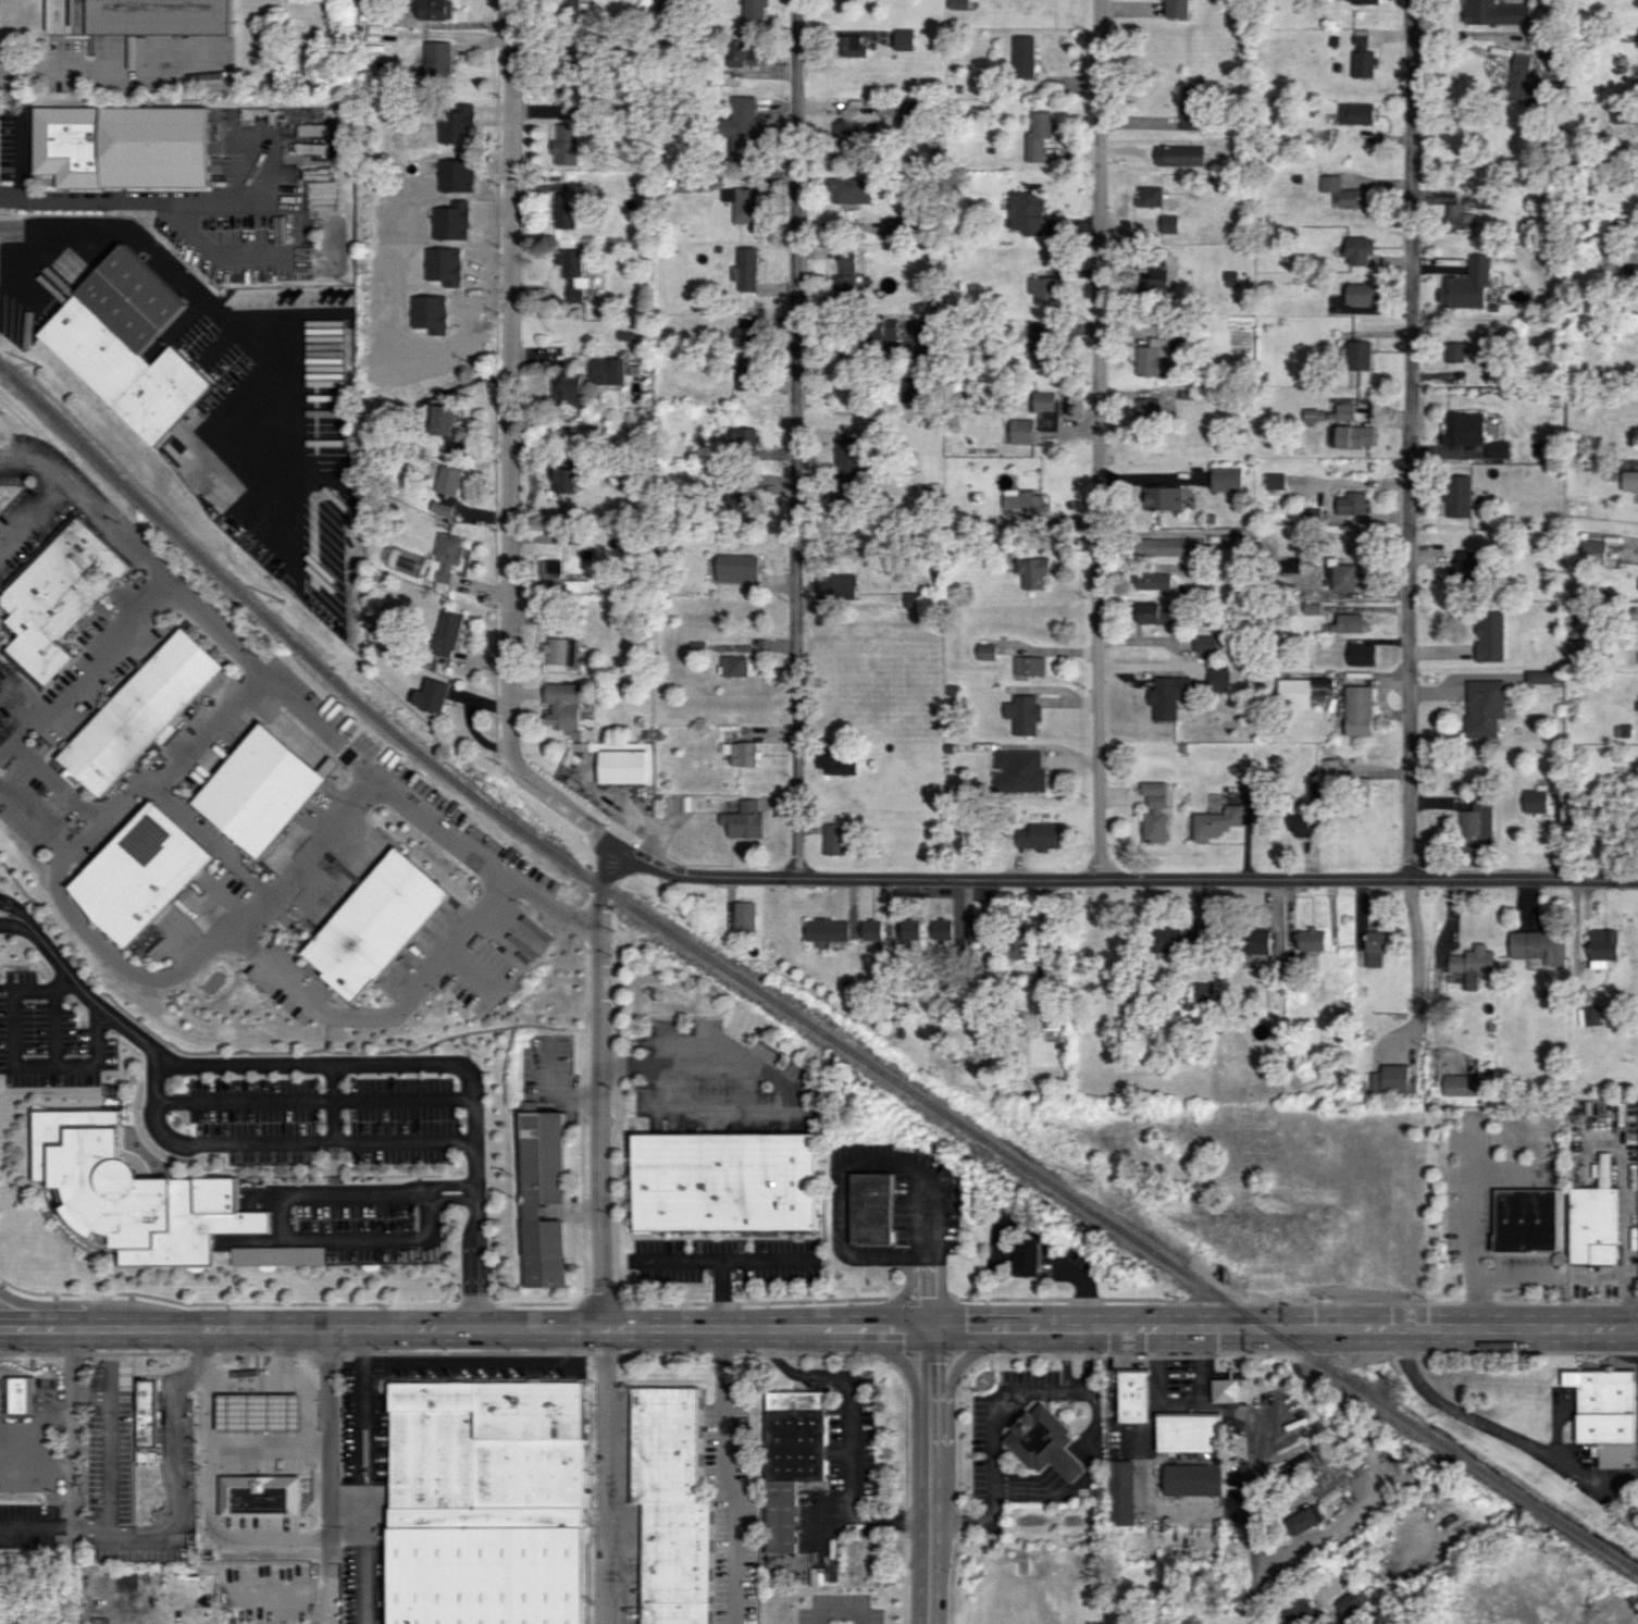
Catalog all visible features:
building: (1362, 1)
building: (957, 3)
building: (571, 4)
building: (1174, 9)
building: (433, 10)
building: (754, 10)
building: (1493, 12)
building: (135, 16)
building: (903, 39)
building: (852, 46)
building: (741, 51)
building: (1360, 55)
building: (1023, 57)
building: (437, 60)
road: (110, 71)
building: (1521, 83)
building: (567, 84)
building: (1191, 107)
building: (1353, 113)
building: (1620, 113)
building: (742, 127)
building: (847, 132)
building: (1037, 135)
building: (317, 139)
building: (564, 144)
building: (117, 145)
road: (18, 154)
building: (1179, 154)
building: (851, 189)
building: (1340, 193)
building: (1150, 196)
road: (140, 201)
building: (742, 203)
building: (1025, 211)
building: (564, 212)
building: (1454, 216)
building: (1154, 224)
building: (895, 226)
building: (1356, 249)
road: (157, 256)
building: (746, 270)
building: (1630, 272)
building: (573, 273)
building: (844, 275)
building: (1153, 282)
building: (1464, 285)
building: (1041, 287)
building: (1356, 294)
building: (1374, 294)
building: (888, 330)
building: (747, 335)
building: (1041, 339)
building: (126, 344)
building: (1159, 345)
building: (1454, 351)
building: (1356, 355)
building: (1151, 362)
building: (609, 370)
building: (748, 373)
building: (566, 388)
building: (910, 389)
building: (1044, 408)
building: (1145, 408)
building: (444, 418)
building: (1462, 429)
building: (1348, 430)
building: (1020, 431)
road: (794, 437)
road: (1096, 438)
building: (745, 439)
road: (1414, 439)
road: (507, 446)
building: (1496, 449)
building: (848, 460)
building: (1225, 479)
building: (450, 480)
building: (567, 480)
building: (1628, 480)
building: (1274, 481)
building: (1457, 495)
building: (1163, 497)
building: (1023, 504)
building: (1352, 504)
road: (90, 505)
road: (28, 509)
building: (1163, 544)
building: (1592, 551)
building: (446, 559)
building: (404, 560)
building: (1288, 566)
building: (1467, 567)
building: (739, 568)
building: (1034, 572)
building: (1342, 575)
building: (1154, 581)
building: (837, 585)
building: (58, 596)
building: (914, 599)
building: (1153, 613)
building: (1350, 622)
building: (447, 634)
building: (1490, 636)
building: (1205, 643)
building: (1575, 647)
building: (561, 652)
building: (988, 652)
building: (1361, 655)
building: (735, 665)
building: (1029, 665)
building: (1538, 677)
building: (1217, 679)
road: (2, 683)
building: (1293, 692)
building: (1319, 693)
building: (431, 695)
building: (1166, 695)
building: (563, 705)
building: (1484, 707)
building: (141, 710)
building: (1357, 710)
building: (1023, 714)
road: (207, 729)
building: (741, 753)
building: (833, 760)
building: (625, 764)
building: (1019, 771)
road: (156, 784)
building: (258, 790)
building: (1543, 797)
building: (1153, 811)
building: (1298, 819)
building: (742, 820)
building: (1215, 821)
building: (1475, 827)
building: (1038, 835)
road: (318, 836)
building: (833, 839)
building: (140, 873)
road: (1122, 877)
road: (488, 897)
road: (548, 903)
building: (744, 916)
building: (375, 922)
building: (978, 927)
building: (826, 929)
building: (871, 929)
building: (908, 929)
building: (1311, 940)
building: (1256, 942)
building: (1017, 943)
building: (1536, 944)
building: (1373, 947)
building: (1602, 949)
road: (1413, 959)
building: (1471, 964)
building: (1201, 991)
railway: (785, 1011)
building: (1588, 1016)
road: (335, 1061)
road: (22, 1062)
building: (1391, 1079)
building: (1462, 1084)
road: (600, 1087)
road: (782, 1087)
building: (114, 1090)
road: (280, 1142)
building: (728, 1181)
building: (131, 1195)
building: (543, 1195)
building: (876, 1207)
road: (284, 1213)
road: (843, 1215)
building: (1525, 1219)
building: (1593, 1225)
road: (1474, 1230)
building: (278, 1255)
building: (1027, 1257)
road: (728, 1259)
road: (1516, 1275)
road: (721, 1293)
road: (898, 1299)
road: (1283, 1327)
road: (466, 1328)
traffic signals: (931, 1328)
road: (477, 1360)
road: (1067, 1360)
road: (1087, 1360)
building: (1226, 1390)
building: (30, 1393)
building: (1133, 1396)
gas station: (247, 1401)
building: (238, 1409)
building: (157, 1412)
building: (1604, 1414)
building: (145, 1421)
road: (325, 1426)
road: (71, 1428)
road: (848, 1429)
road: (305, 1431)
road: (1504, 1431)
building: (1188, 1433)
road: (363, 1435)
building: (1044, 1442)
road: (107, 1445)
road: (997, 1452)
building: (791, 1459)
building: (1299, 1466)
road: (929, 1475)
road: (610, 1476)
road: (728, 1476)
building: (1191, 1479)
road: (273, 1482)
building: (1329, 1485)
building: (1121, 1492)
building: (486, 1503)
building: (670, 1504)
road: (181, 1505)
building: (262, 1520)
building: (1303, 1520)
road: (1264, 1532)
road: (327, 1552)
building: (785, 1565)
road: (359, 1567)
building: (1353, 1603)
building: (1299, 1610)
road: (840, 1613)
road: (321, 1622)

